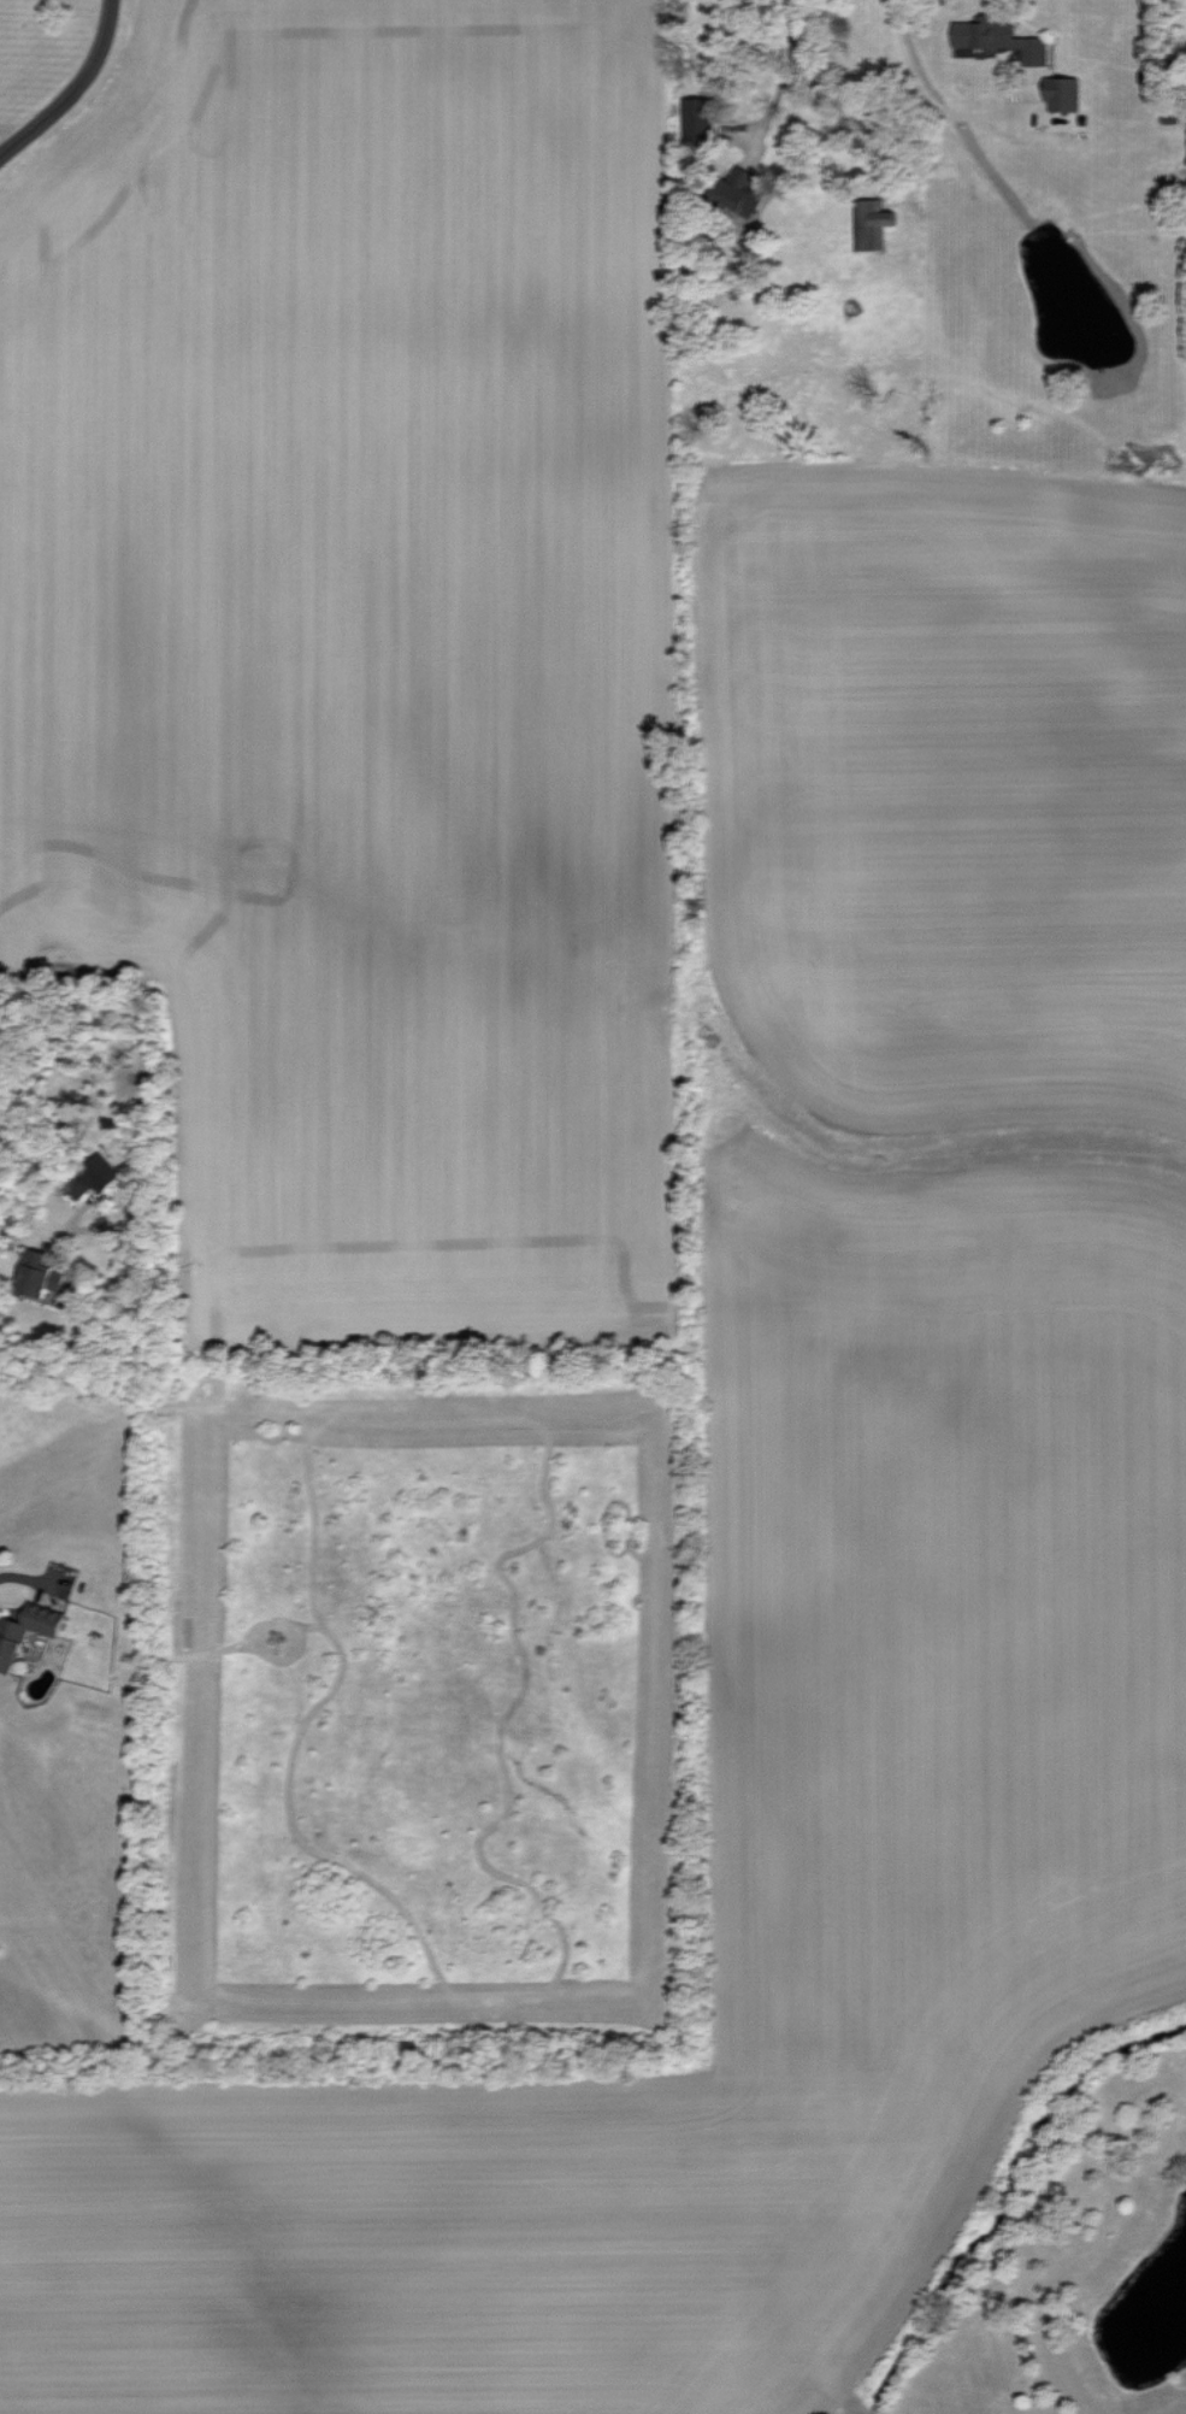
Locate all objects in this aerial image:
building: (995, 37)
road: (784, 84)
road: (72, 89)
building: (1058, 93)
building: (692, 119)
building: (731, 192)
building: (867, 224)
building: (88, 1176)
building: (29, 1276)
road: (23, 1577)
building: (6, 1654)

